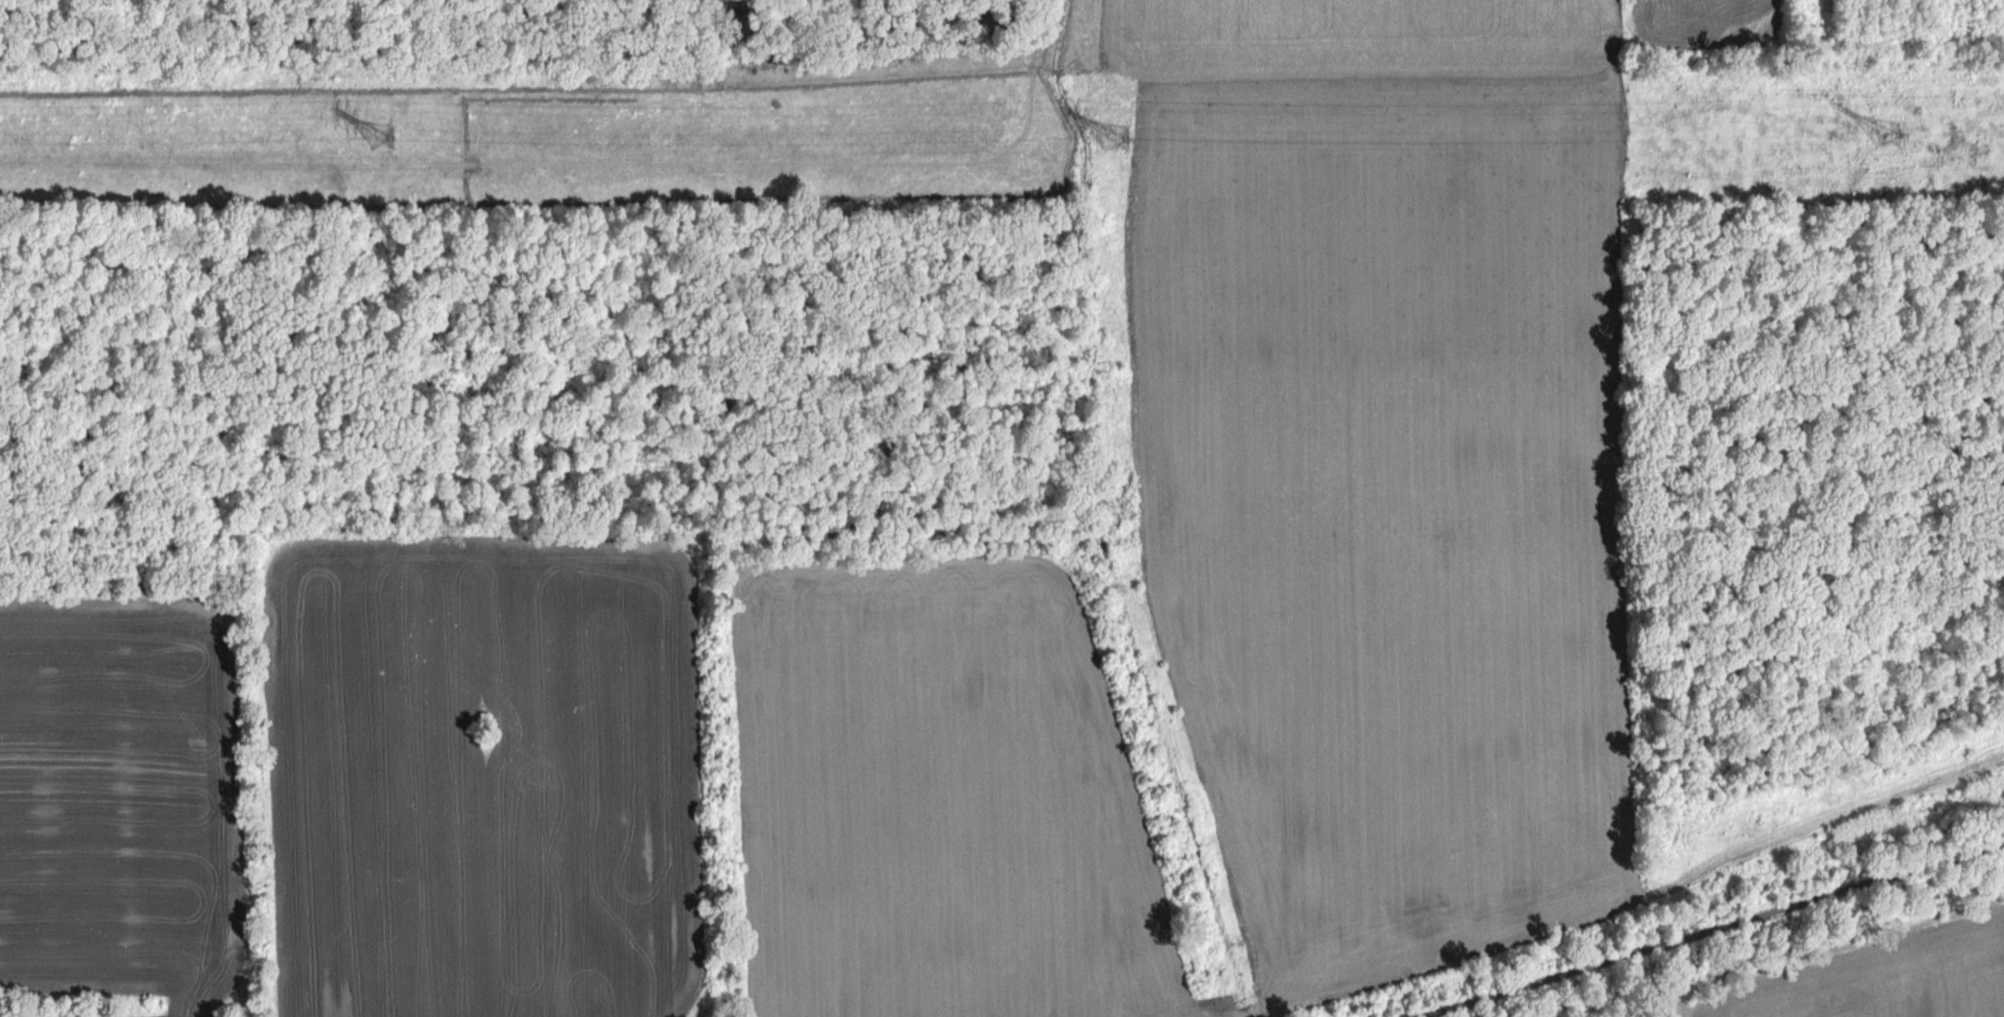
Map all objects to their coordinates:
crop: (1706, 22)
power tower: (1887, 141)
power tower: (382, 143)
power tower: (1112, 152)
crop: (1388, 463)
crop: (483, 777)
crop: (939, 800)
crop: (117, 802)
road: (1715, 930)
crop: (1889, 979)

